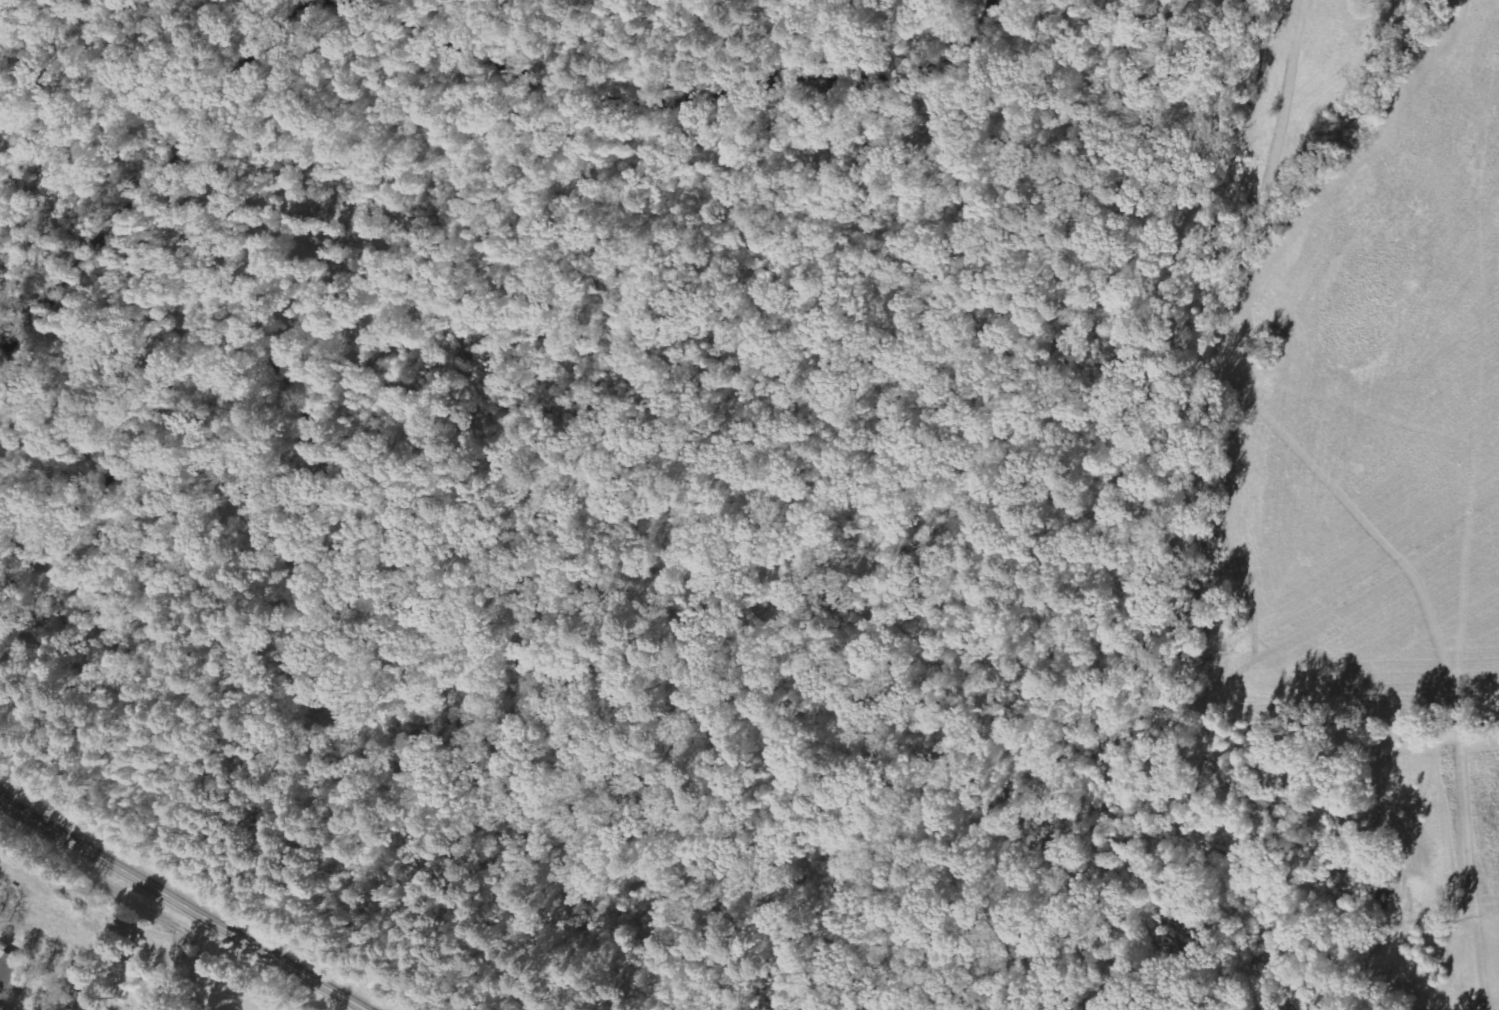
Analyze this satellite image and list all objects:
road: (184, 907)
building: (8, 969)
building: (89, 1008)

